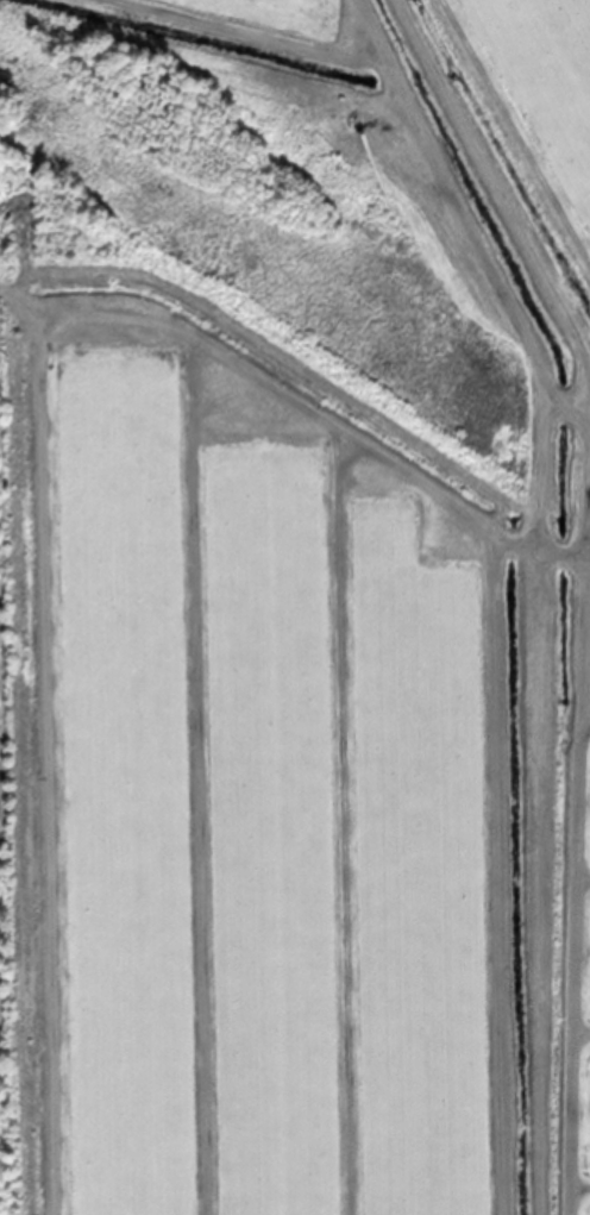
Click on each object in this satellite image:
crop: (307, 690)

